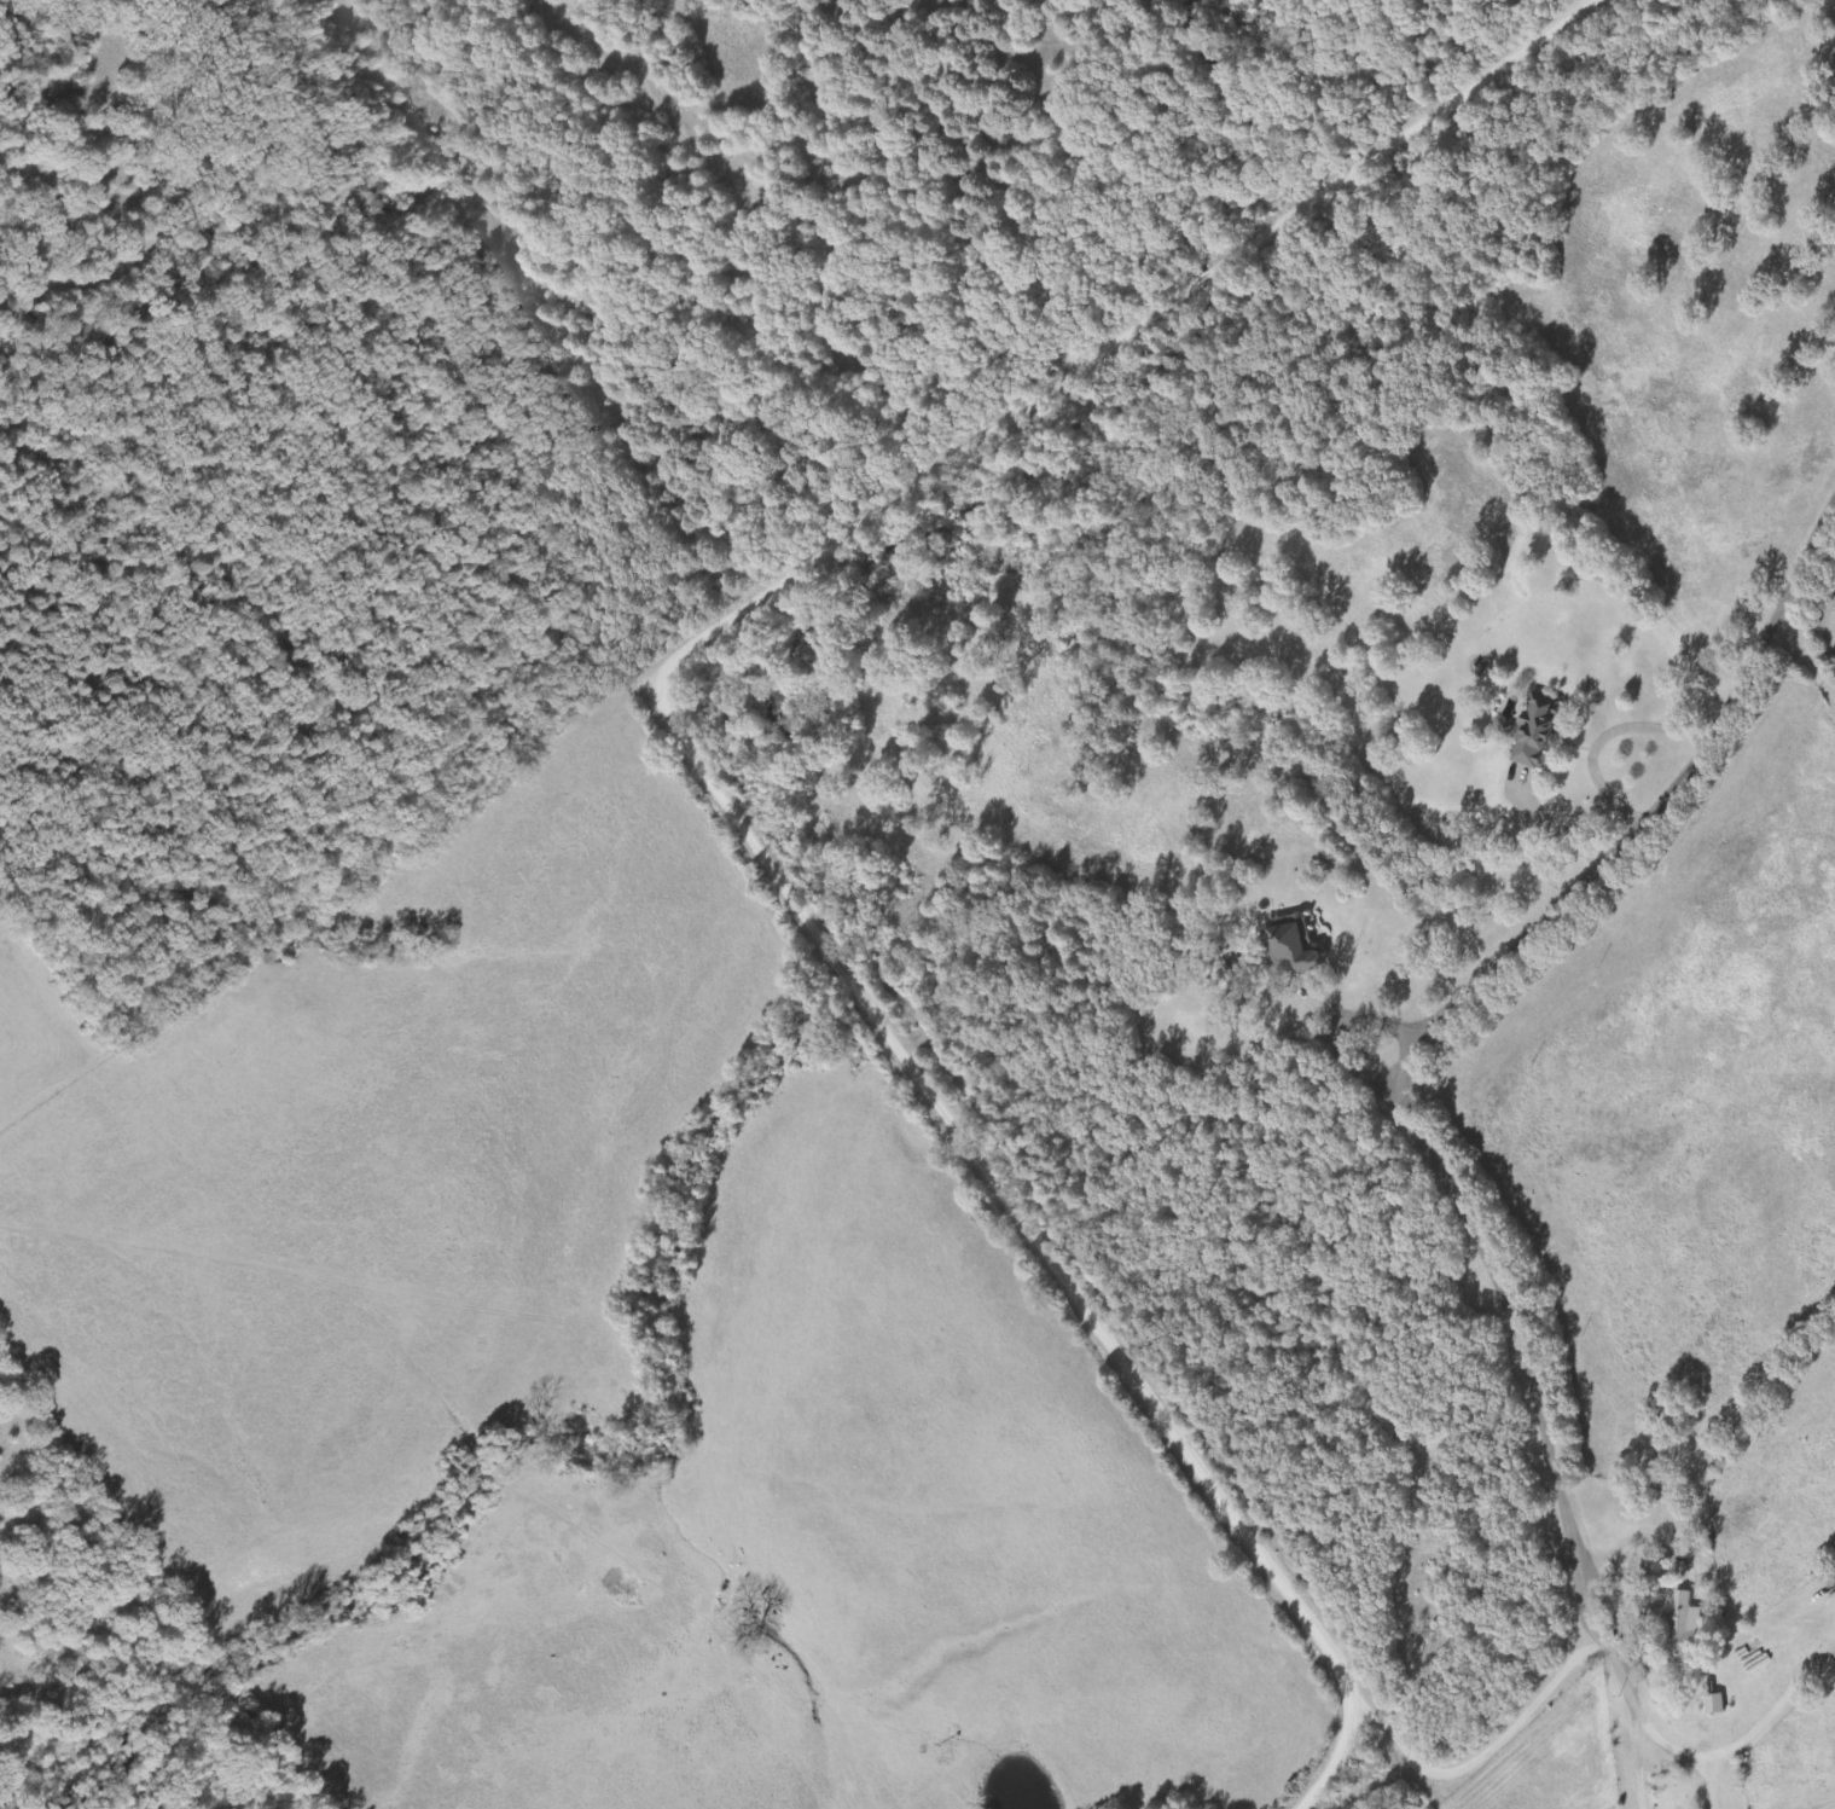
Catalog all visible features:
building: (1540, 730)
road: (709, 769)
building: (1296, 946)
road: (1468, 996)
road: (1613, 1606)
building: (1688, 1629)
building: (1717, 1701)
road: (1668, 1749)

